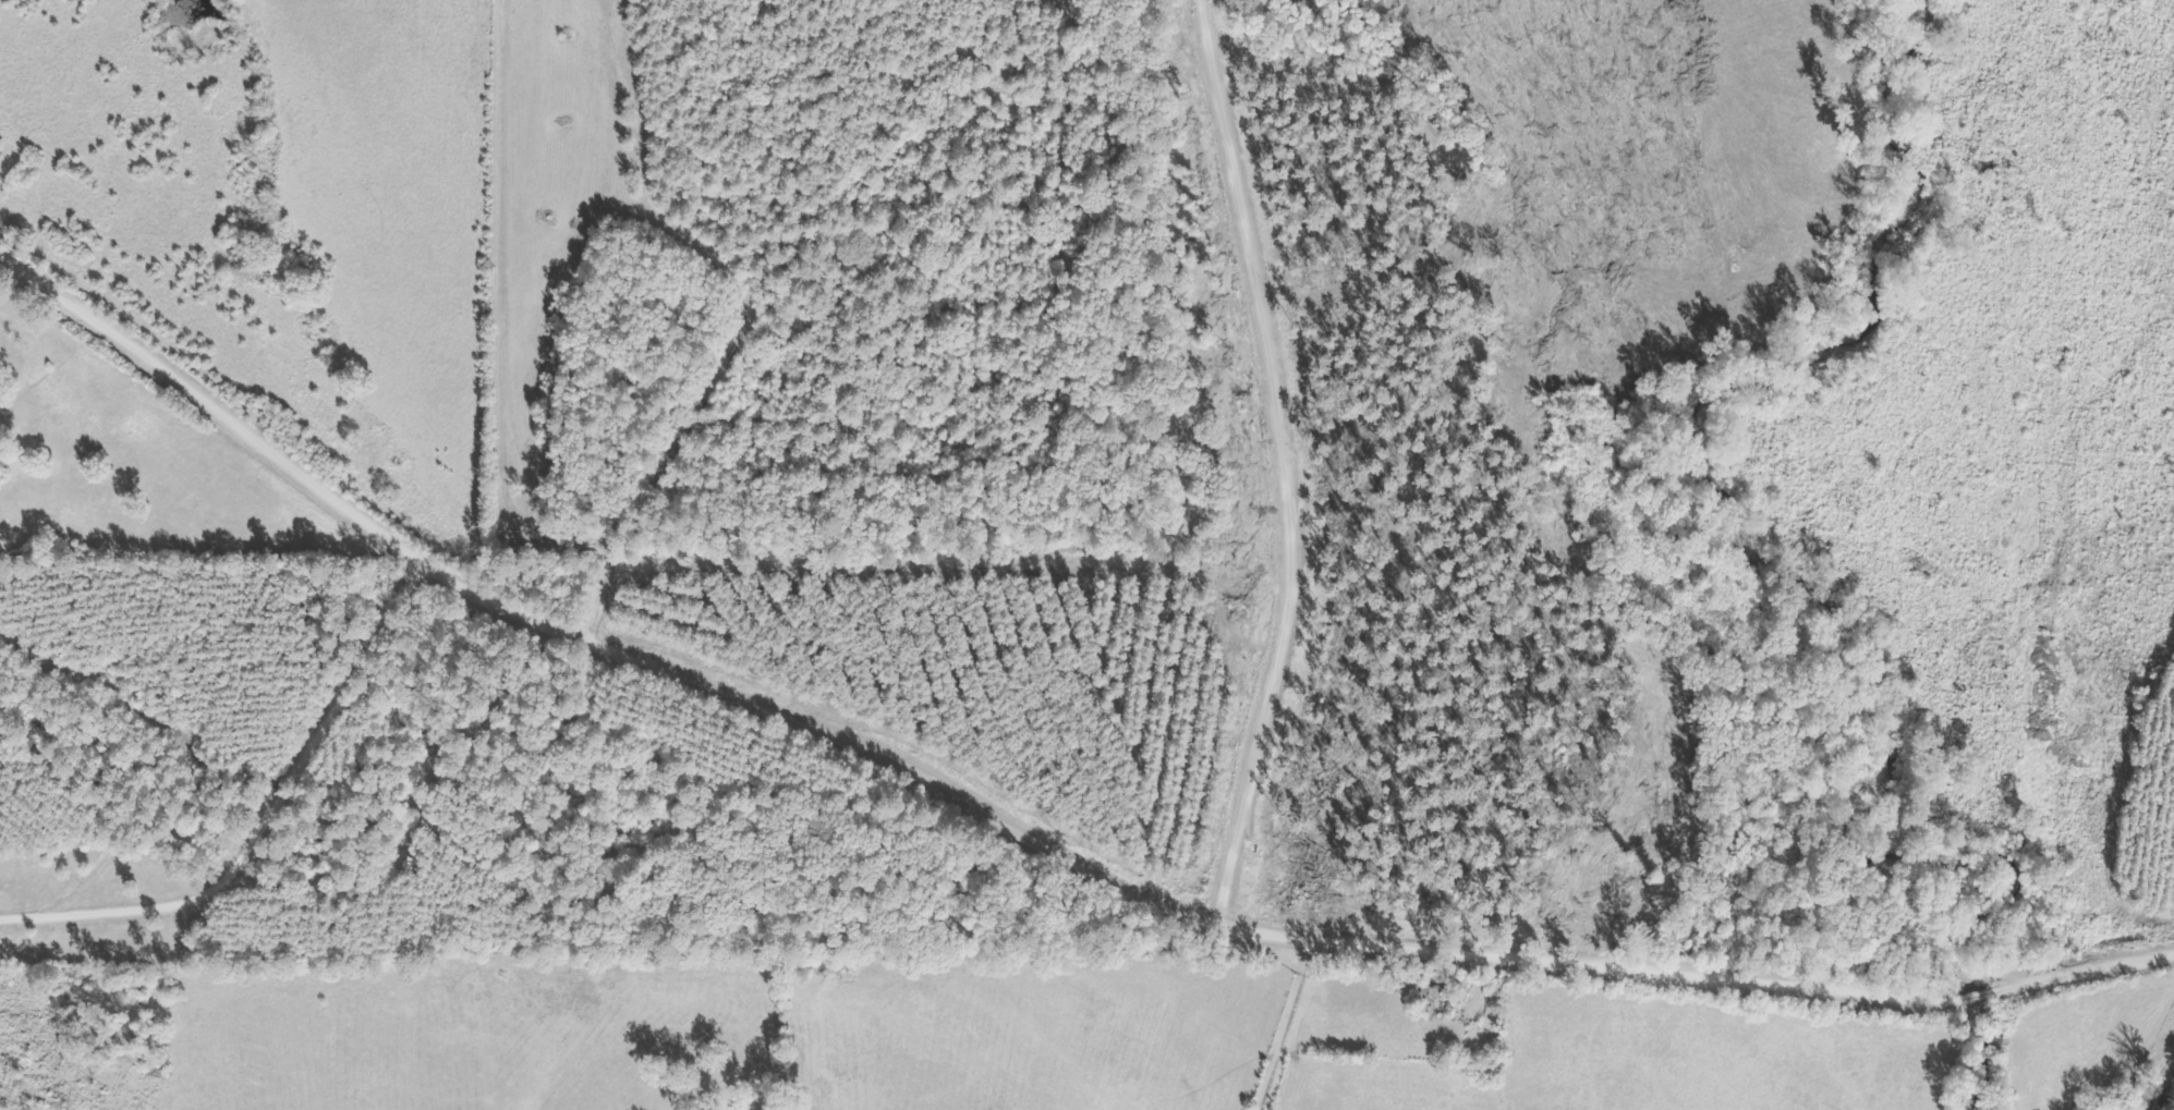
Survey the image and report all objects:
road: (350, 319)
road: (1273, 450)
road: (576, 642)
road: (1260, 927)
road: (1741, 986)
building: (1424, 996)
road: (1279, 1032)
railway: (2163, 1088)

